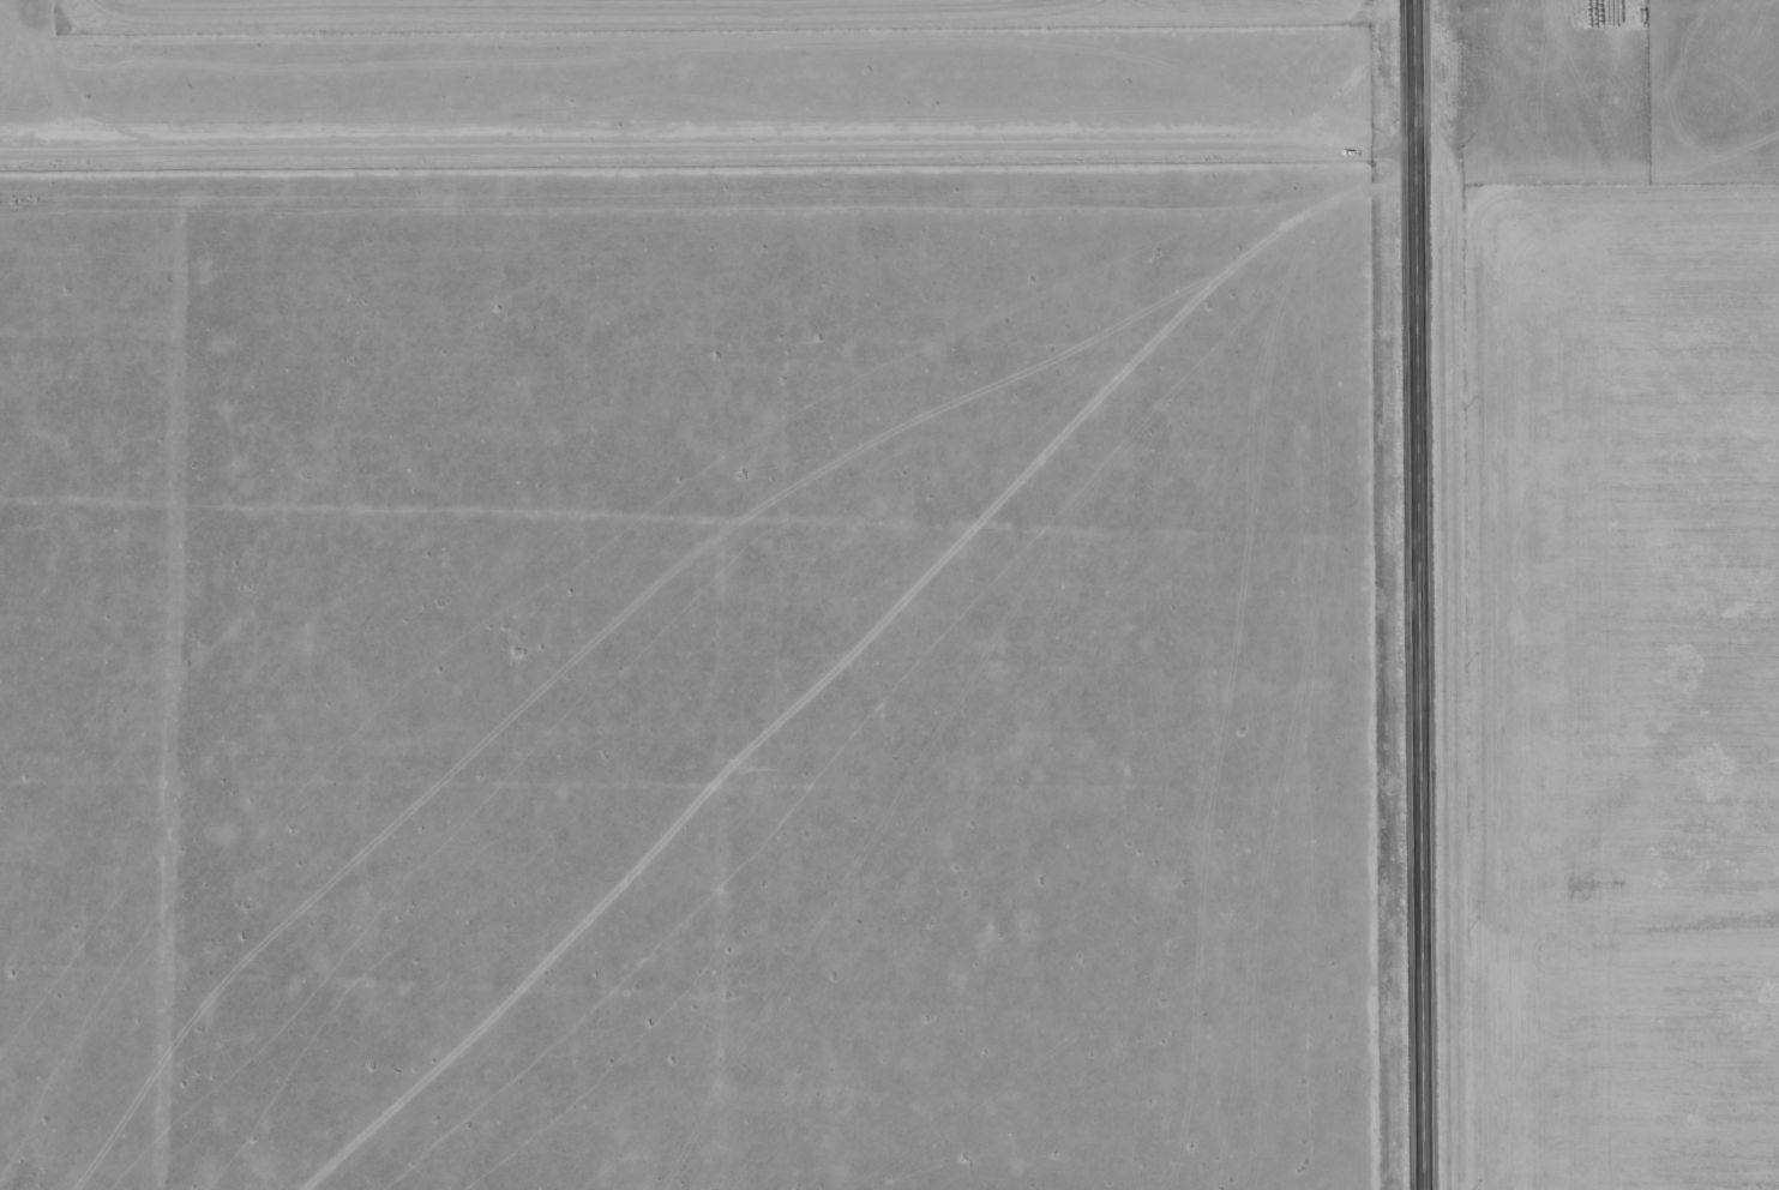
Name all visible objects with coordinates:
road: (707, 148)
road: (707, 299)
road: (1417, 595)

